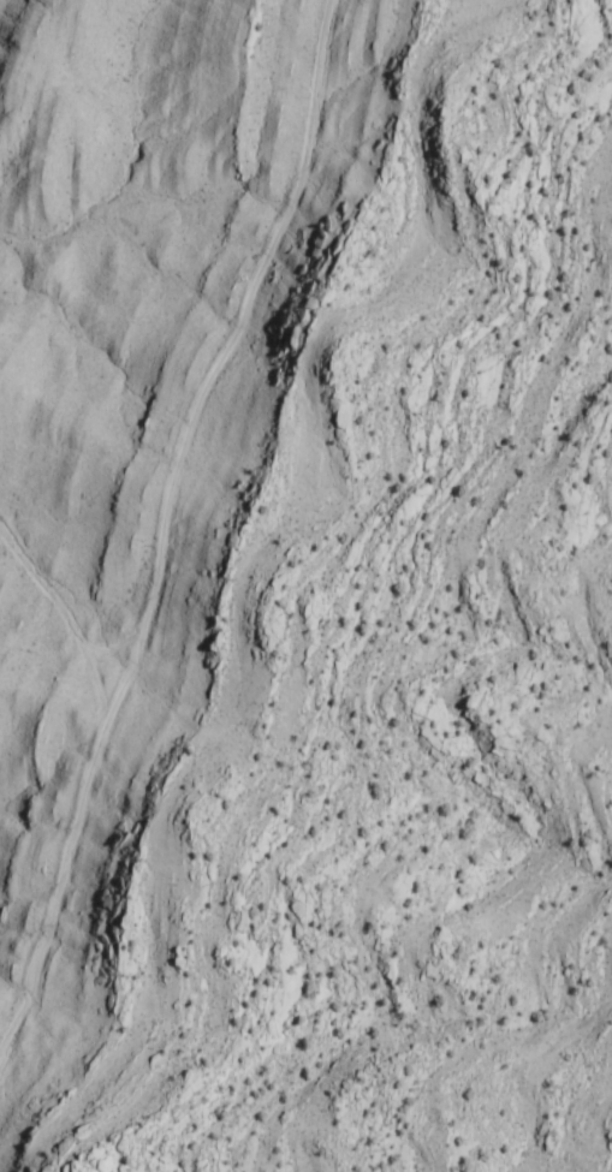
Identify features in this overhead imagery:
road: (177, 286)

